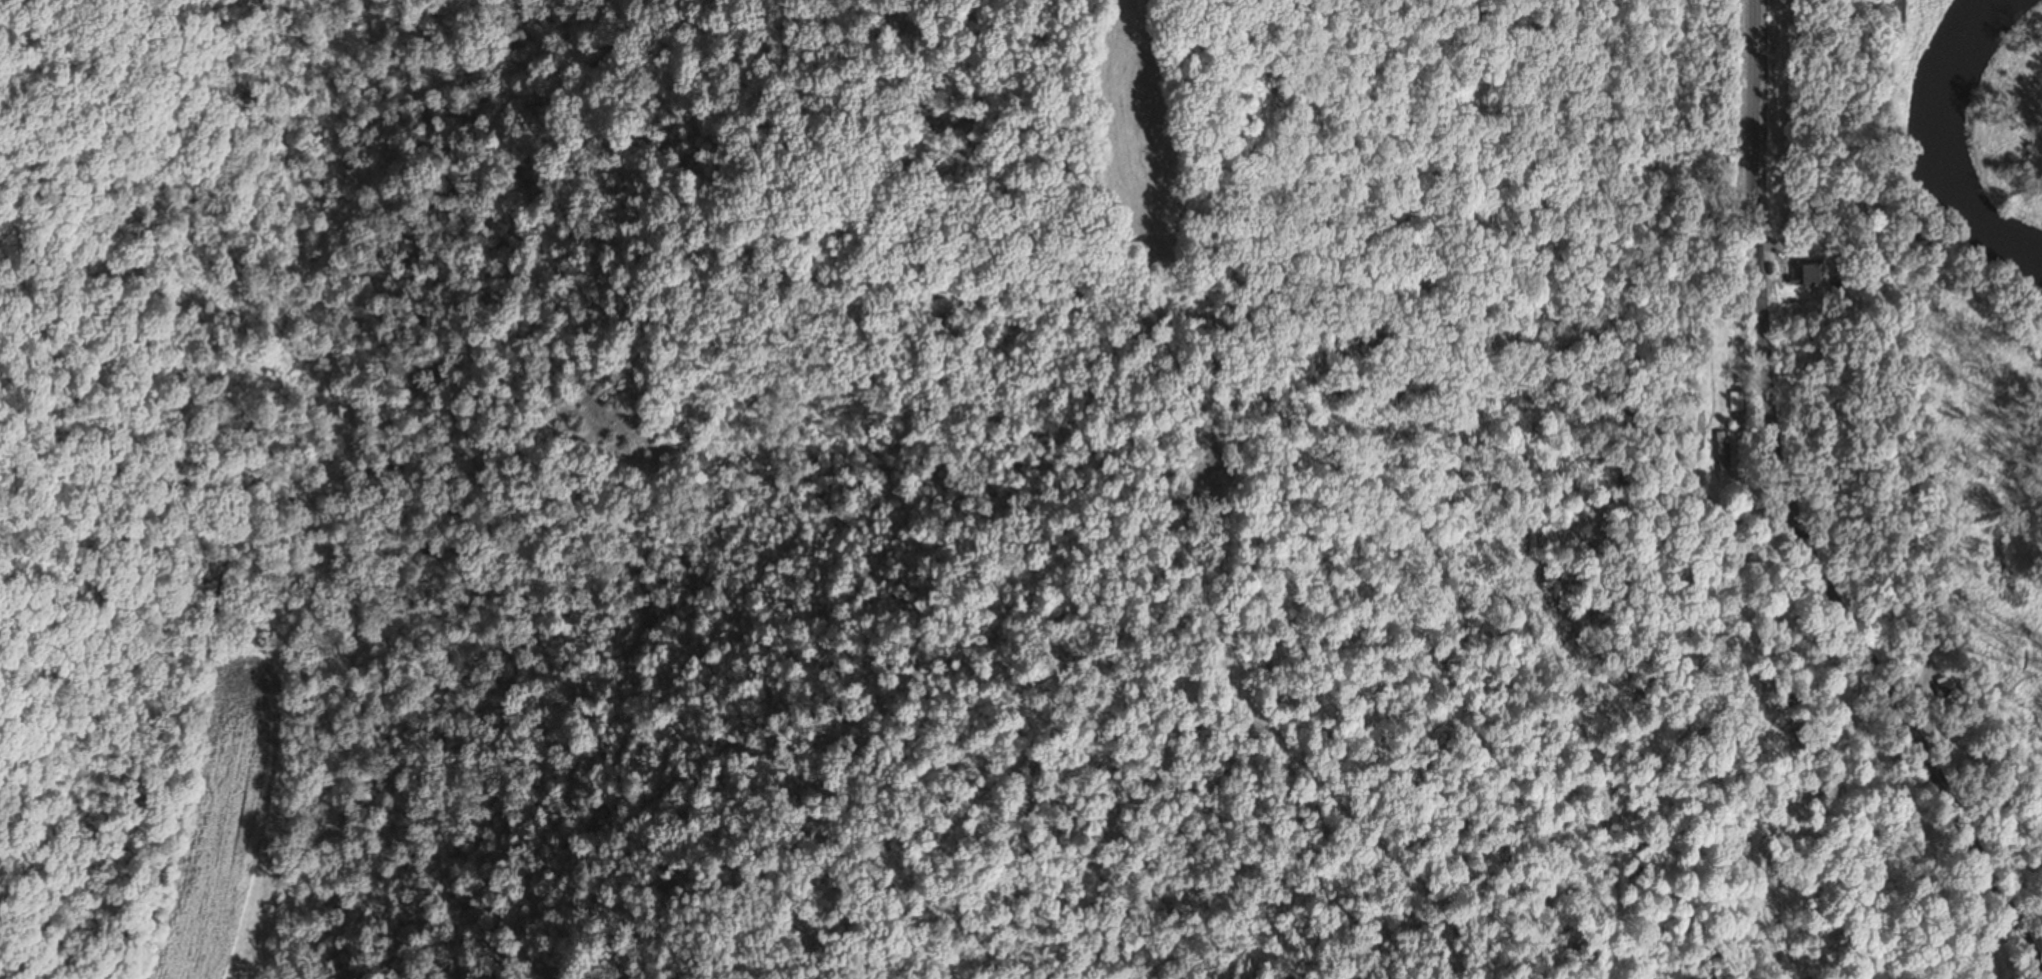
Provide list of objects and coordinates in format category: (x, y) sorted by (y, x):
river: (1951, 143)
building: (1804, 275)
building: (1722, 452)
road: (1795, 516)
building: (1943, 688)

